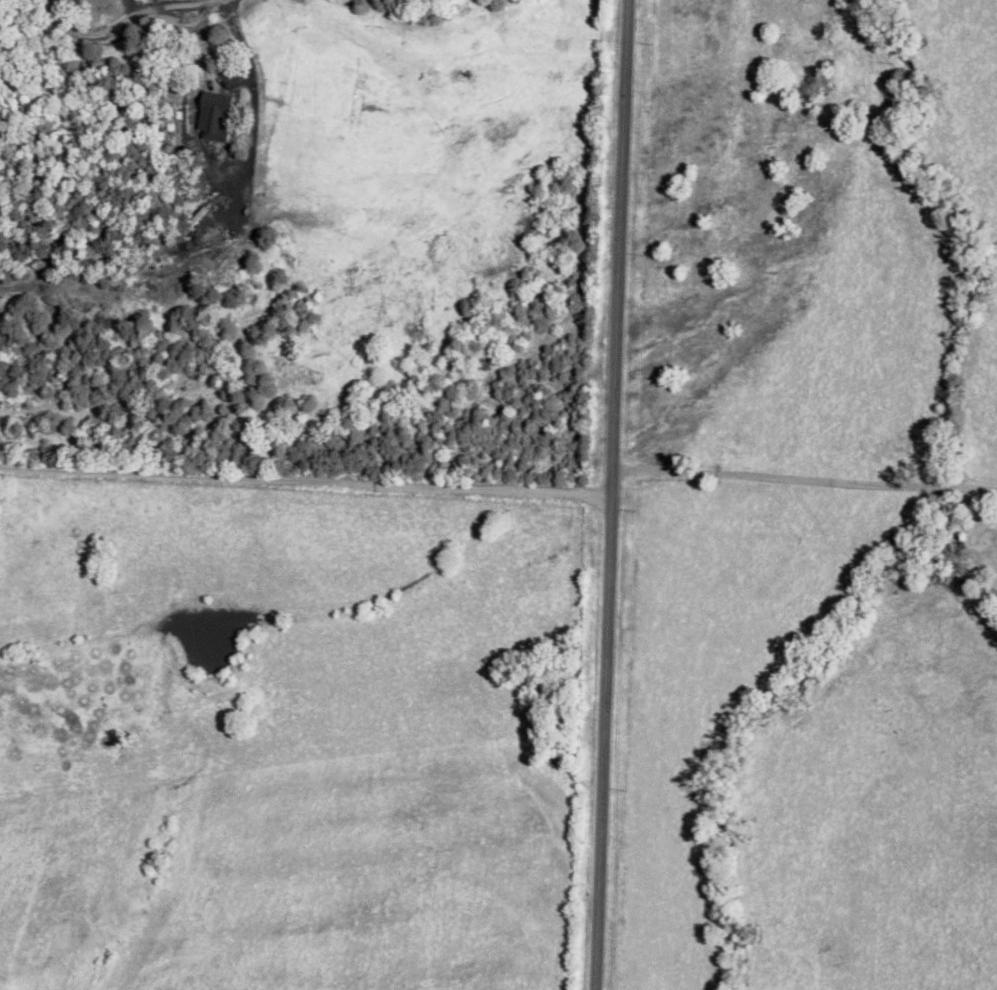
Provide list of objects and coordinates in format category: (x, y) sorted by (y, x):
road: (128, 19)
road: (204, 42)
road: (806, 458)
road: (307, 468)
road: (613, 494)

